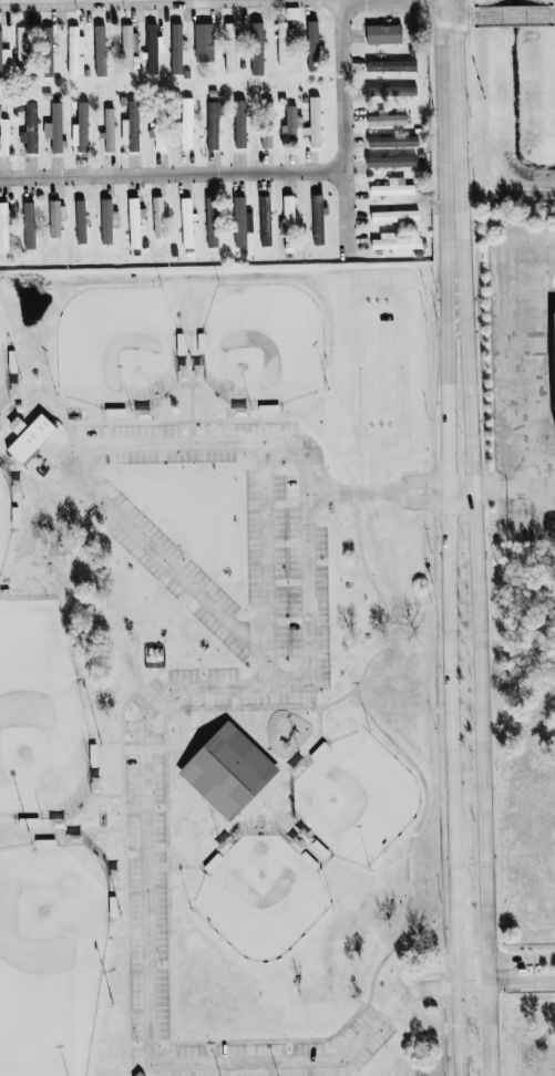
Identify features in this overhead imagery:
road: (79, 1)
road: (446, 8)
road: (553, 13)
road: (514, 14)
road: (462, 17)
building: (383, 33)
building: (203, 42)
building: (284, 42)
building: (127, 44)
building: (312, 45)
building: (22, 46)
building: (152, 48)
building: (229, 48)
building: (74, 49)
building: (176, 49)
building: (43, 50)
building: (100, 50)
building: (3, 54)
building: (390, 65)
building: (397, 83)
building: (391, 91)
building: (386, 120)
building: (315, 122)
building: (186, 123)
building: (213, 123)
building: (239, 123)
building: (133, 125)
building: (158, 125)
building: (82, 126)
building: (289, 126)
road: (342, 126)
building: (54, 127)
building: (30, 128)
building: (107, 128)
building: (3, 134)
building: (124, 134)
building: (266, 137)
building: (392, 141)
road: (451, 154)
building: (390, 161)
road: (172, 174)
building: (392, 187)
road: (504, 193)
building: (394, 216)
building: (157, 217)
building: (55, 218)
building: (213, 219)
building: (317, 219)
building: (107, 220)
building: (264, 220)
building: (80, 221)
building: (134, 221)
building: (288, 221)
building: (186, 223)
building: (29, 225)
building: (3, 227)
building: (395, 244)
road: (536, 279)
building: (553, 362)
building: (380, 365)
road: (520, 383)
building: (31, 438)
road: (419, 479)
road: (82, 480)
road: (460, 487)
road: (513, 487)
road: (347, 493)
road: (421, 504)
park: (4, 513)
road: (265, 565)
road: (304, 565)
road: (474, 624)
park: (217, 680)
road: (453, 683)
park: (39, 714)
building: (227, 770)
road: (71, 830)
road: (146, 942)
park: (50, 956)
road: (520, 958)
road: (472, 960)
road: (420, 965)
road: (485, 970)
road: (520, 977)
road: (472, 980)
road: (430, 987)
road: (486, 1027)
road: (166, 1069)

